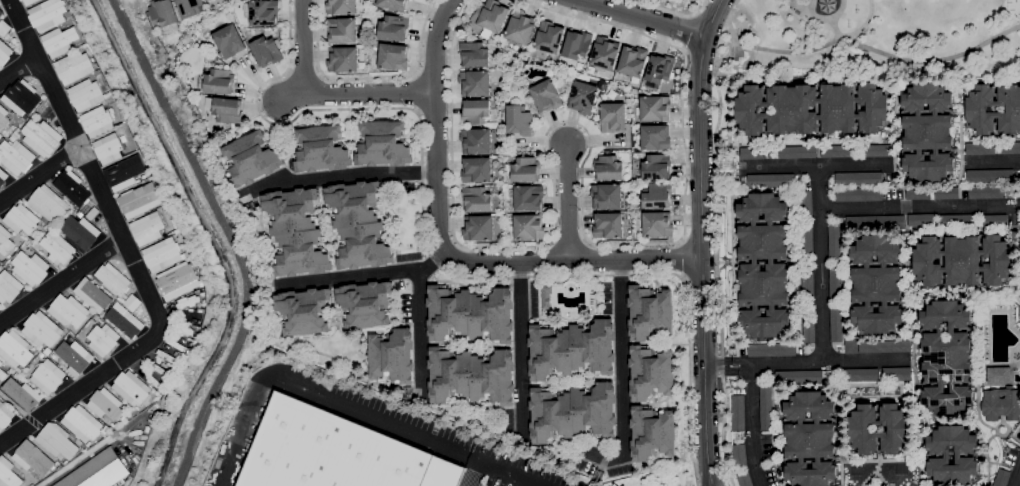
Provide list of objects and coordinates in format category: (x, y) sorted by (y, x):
building: (21, 0)
building: (207, 0)
building: (29, 2)
building: (393, 4)
building: (341, 6)
building: (190, 7)
road: (732, 10)
road: (676, 11)
building: (261, 12)
building: (1, 13)
road: (695, 13)
building: (164, 14)
building: (46, 15)
road: (645, 17)
building: (492, 18)
building: (394, 27)
road: (861, 27)
building: (4, 28)
building: (520, 28)
building: (342, 30)
road: (690, 31)
road: (421, 37)
building: (549, 37)
park: (868, 39)
building: (228, 40)
building: (59, 41)
building: (84, 45)
building: (576, 45)
road: (301, 47)
road: (683, 48)
building: (266, 50)
road: (879, 50)
building: (4, 53)
building: (604, 53)
building: (474, 55)
building: (393, 56)
building: (343, 59)
building: (633, 61)
building: (73, 67)
building: (660, 68)
road: (18, 69)
building: (97, 72)
road: (433, 76)
road: (329, 77)
building: (218, 80)
building: (475, 83)
road: (417, 92)
road: (355, 93)
building: (86, 94)
building: (546, 96)
building: (21, 97)
building: (583, 97)
building: (655, 108)
building: (839, 108)
building: (1007, 109)
building: (226, 110)
building: (475, 111)
road: (434, 113)
building: (33, 114)
building: (3, 117)
building: (613, 117)
building: (519, 120)
building: (98, 121)
road: (435, 125)
building: (927, 131)
building: (0, 136)
building: (41, 137)
building: (655, 137)
building: (123, 138)
building: (476, 141)
building: (382, 144)
building: (1010, 147)
building: (108, 148)
building: (980, 148)
building: (321, 149)
building: (876, 150)
building: (838, 151)
building: (792, 152)
building: (752, 153)
building: (15, 155)
building: (251, 158)
road: (584, 160)
road: (993, 161)
road: (85, 163)
road: (813, 166)
building: (656, 167)
building: (727, 167)
building: (609, 168)
building: (525, 169)
building: (476, 170)
building: (125, 173)
road: (39, 175)
building: (989, 176)
building: (2, 177)
building: (143, 177)
road: (343, 177)
building: (150, 178)
building: (896, 178)
building: (858, 179)
building: (770, 180)
building: (990, 191)
building: (75, 192)
building: (918, 193)
building: (946, 193)
building: (858, 194)
building: (607, 196)
building: (658, 196)
building: (527, 197)
building: (477, 199)
building: (139, 200)
road: (567, 203)
building: (48, 204)
building: (806, 205)
road: (919, 207)
building: (79, 214)
building: (21, 219)
building: (921, 219)
building: (957, 220)
building: (995, 220)
building: (875, 222)
building: (358, 224)
building: (657, 224)
building: (608, 225)
building: (45, 226)
building: (527, 227)
building: (148, 228)
building: (478, 228)
building: (80, 231)
building: (296, 232)
building: (43, 233)
road: (701, 237)
building: (5, 240)
road: (702, 241)
building: (806, 242)
building: (834, 242)
building: (22, 244)
building: (56, 247)
road: (718, 249)
building: (39, 253)
building: (164, 254)
road: (683, 257)
road: (573, 260)
building: (962, 260)
road: (820, 263)
road: (440, 264)
building: (764, 265)
building: (29, 267)
road: (367, 275)
road: (700, 276)
building: (113, 279)
building: (178, 280)
road: (61, 281)
building: (835, 282)
building: (877, 284)
building: (9, 287)
building: (808, 290)
building: (93, 295)
building: (546, 296)
building: (119, 299)
building: (132, 302)
building: (365, 304)
building: (199, 308)
building: (68, 311)
building: (304, 311)
building: (649, 312)
building: (470, 314)
building: (100, 320)
building: (125, 322)
building: (836, 323)
road: (420, 325)
building: (197, 327)
building: (808, 327)
building: (41, 329)
building: (183, 330)
building: (103, 339)
building: (176, 345)
building: (851, 345)
building: (884, 346)
road: (521, 348)
building: (571, 349)
building: (771, 349)
building: (15, 350)
building: (47, 351)
building: (41, 354)
building: (391, 356)
building: (74, 357)
building: (167, 357)
building: (947, 358)
road: (805, 361)
building: (1, 363)
building: (174, 367)
building: (162, 369)
building: (1019, 371)
building: (650, 373)
building: (2, 374)
building: (860, 374)
building: (897, 374)
building: (997, 375)
building: (48, 376)
building: (471, 376)
road: (617, 376)
building: (803, 376)
road: (81, 387)
building: (131, 387)
building: (22, 393)
road: (317, 395)
building: (1001, 403)
road: (13, 404)
building: (105, 404)
building: (765, 406)
building: (137, 407)
building: (572, 412)
building: (5, 416)
building: (738, 417)
road: (29, 418)
building: (82, 423)
building: (113, 424)
road: (752, 425)
building: (898, 429)
building: (652, 433)
building: (105, 435)
building: (810, 439)
building: (56, 440)
building: (89, 444)
building: (336, 453)
building: (952, 454)
building: (740, 456)
building: (32, 458)
building: (96, 471)
road: (474, 473)
road: (509, 473)
building: (8, 474)
parking lot: (517, 475)
building: (1001, 477)
building: (744, 479)
road: (1018, 481)
building: (31, 485)

